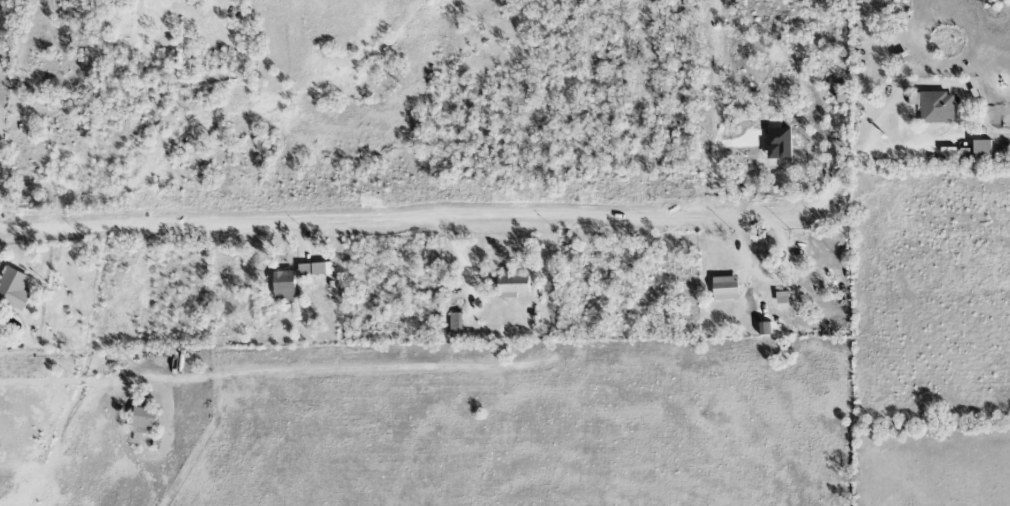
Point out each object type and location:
building: (931, 106)
building: (776, 144)
building: (980, 152)
road: (853, 162)
road: (386, 215)
building: (313, 270)
building: (282, 284)
building: (510, 286)
building: (14, 289)
building: (724, 289)
building: (455, 325)
road: (73, 381)
building: (142, 418)

